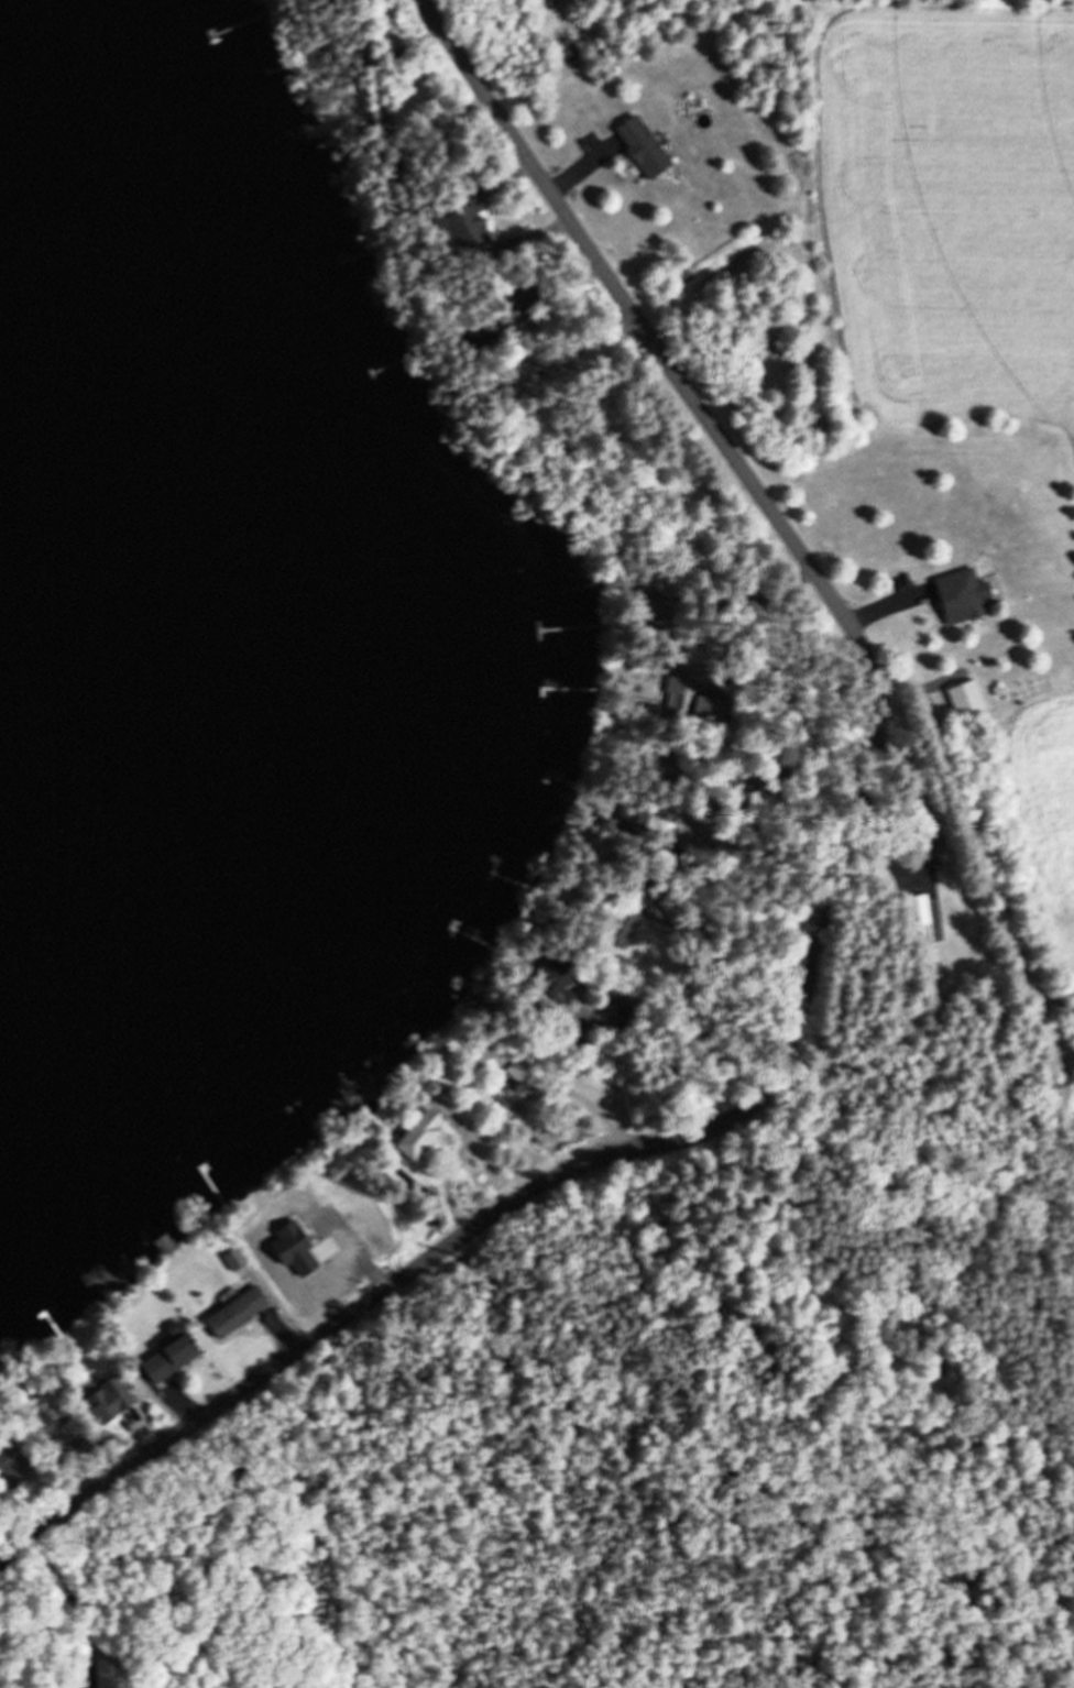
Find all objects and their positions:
building: (568, 50)
building: (352, 53)
building: (640, 145)
building: (462, 219)
building: (509, 317)
building: (515, 373)
building: (453, 410)
building: (960, 595)
building: (964, 698)
building: (694, 704)
building: (629, 818)
building: (929, 841)
building: (916, 909)
building: (623, 920)
road: (823, 929)
building: (621, 1006)
building: (501, 1062)
building: (417, 1133)
building: (286, 1230)
building: (234, 1312)
building: (166, 1359)
building: (106, 1399)
building: (9, 1467)

